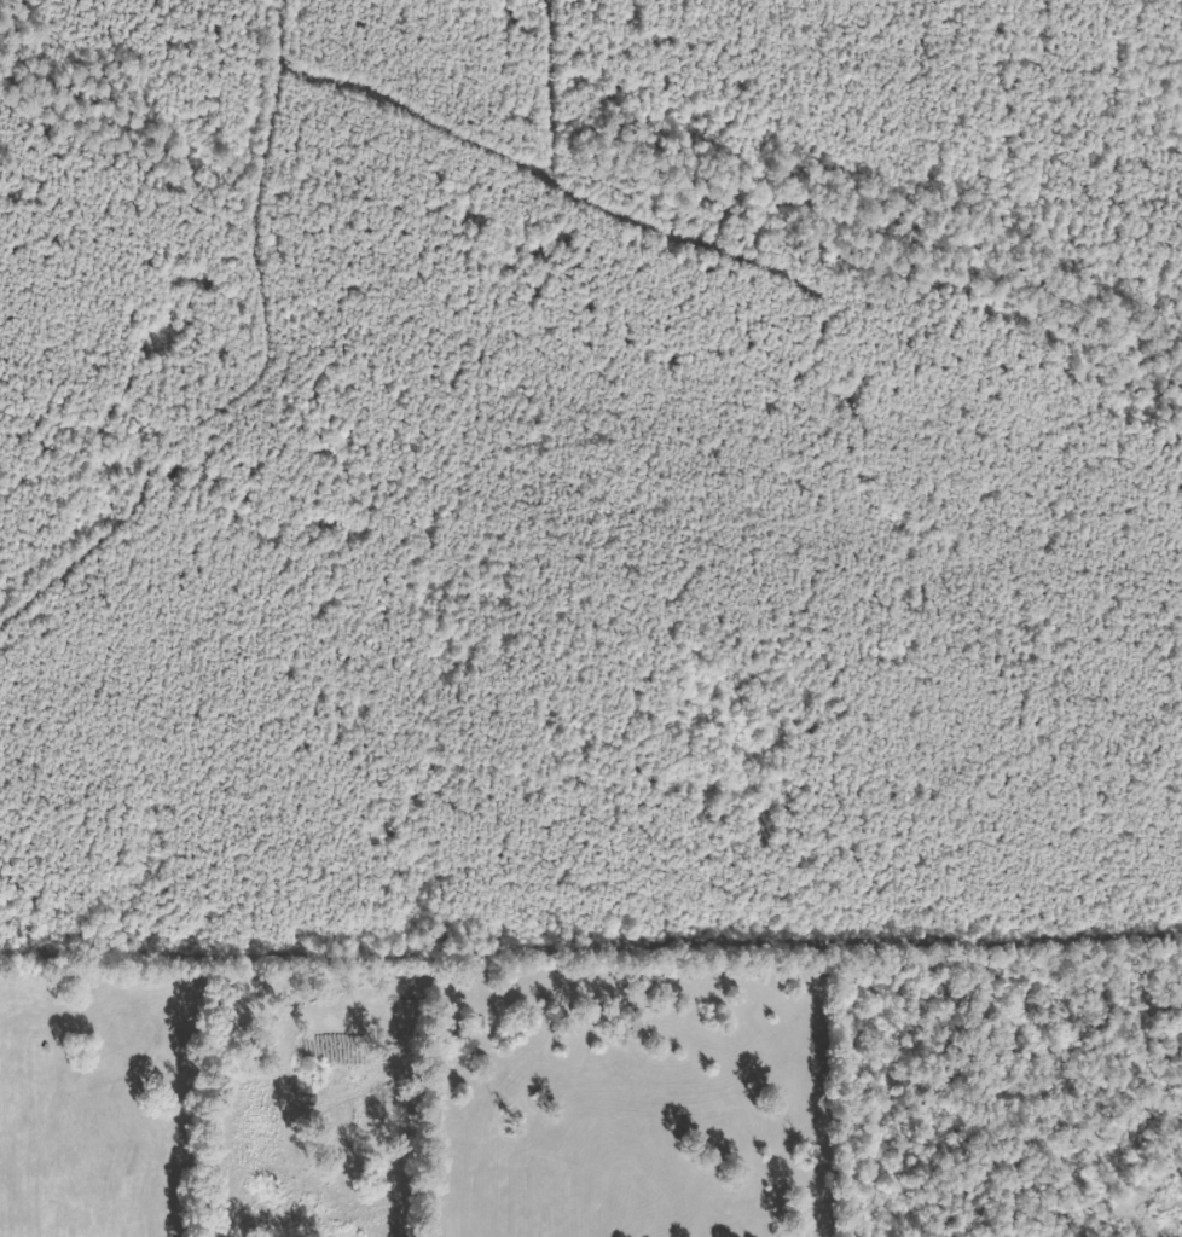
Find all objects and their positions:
road: (274, 92)
road: (117, 165)
road: (174, 359)
road: (874, 716)
road: (100, 718)

